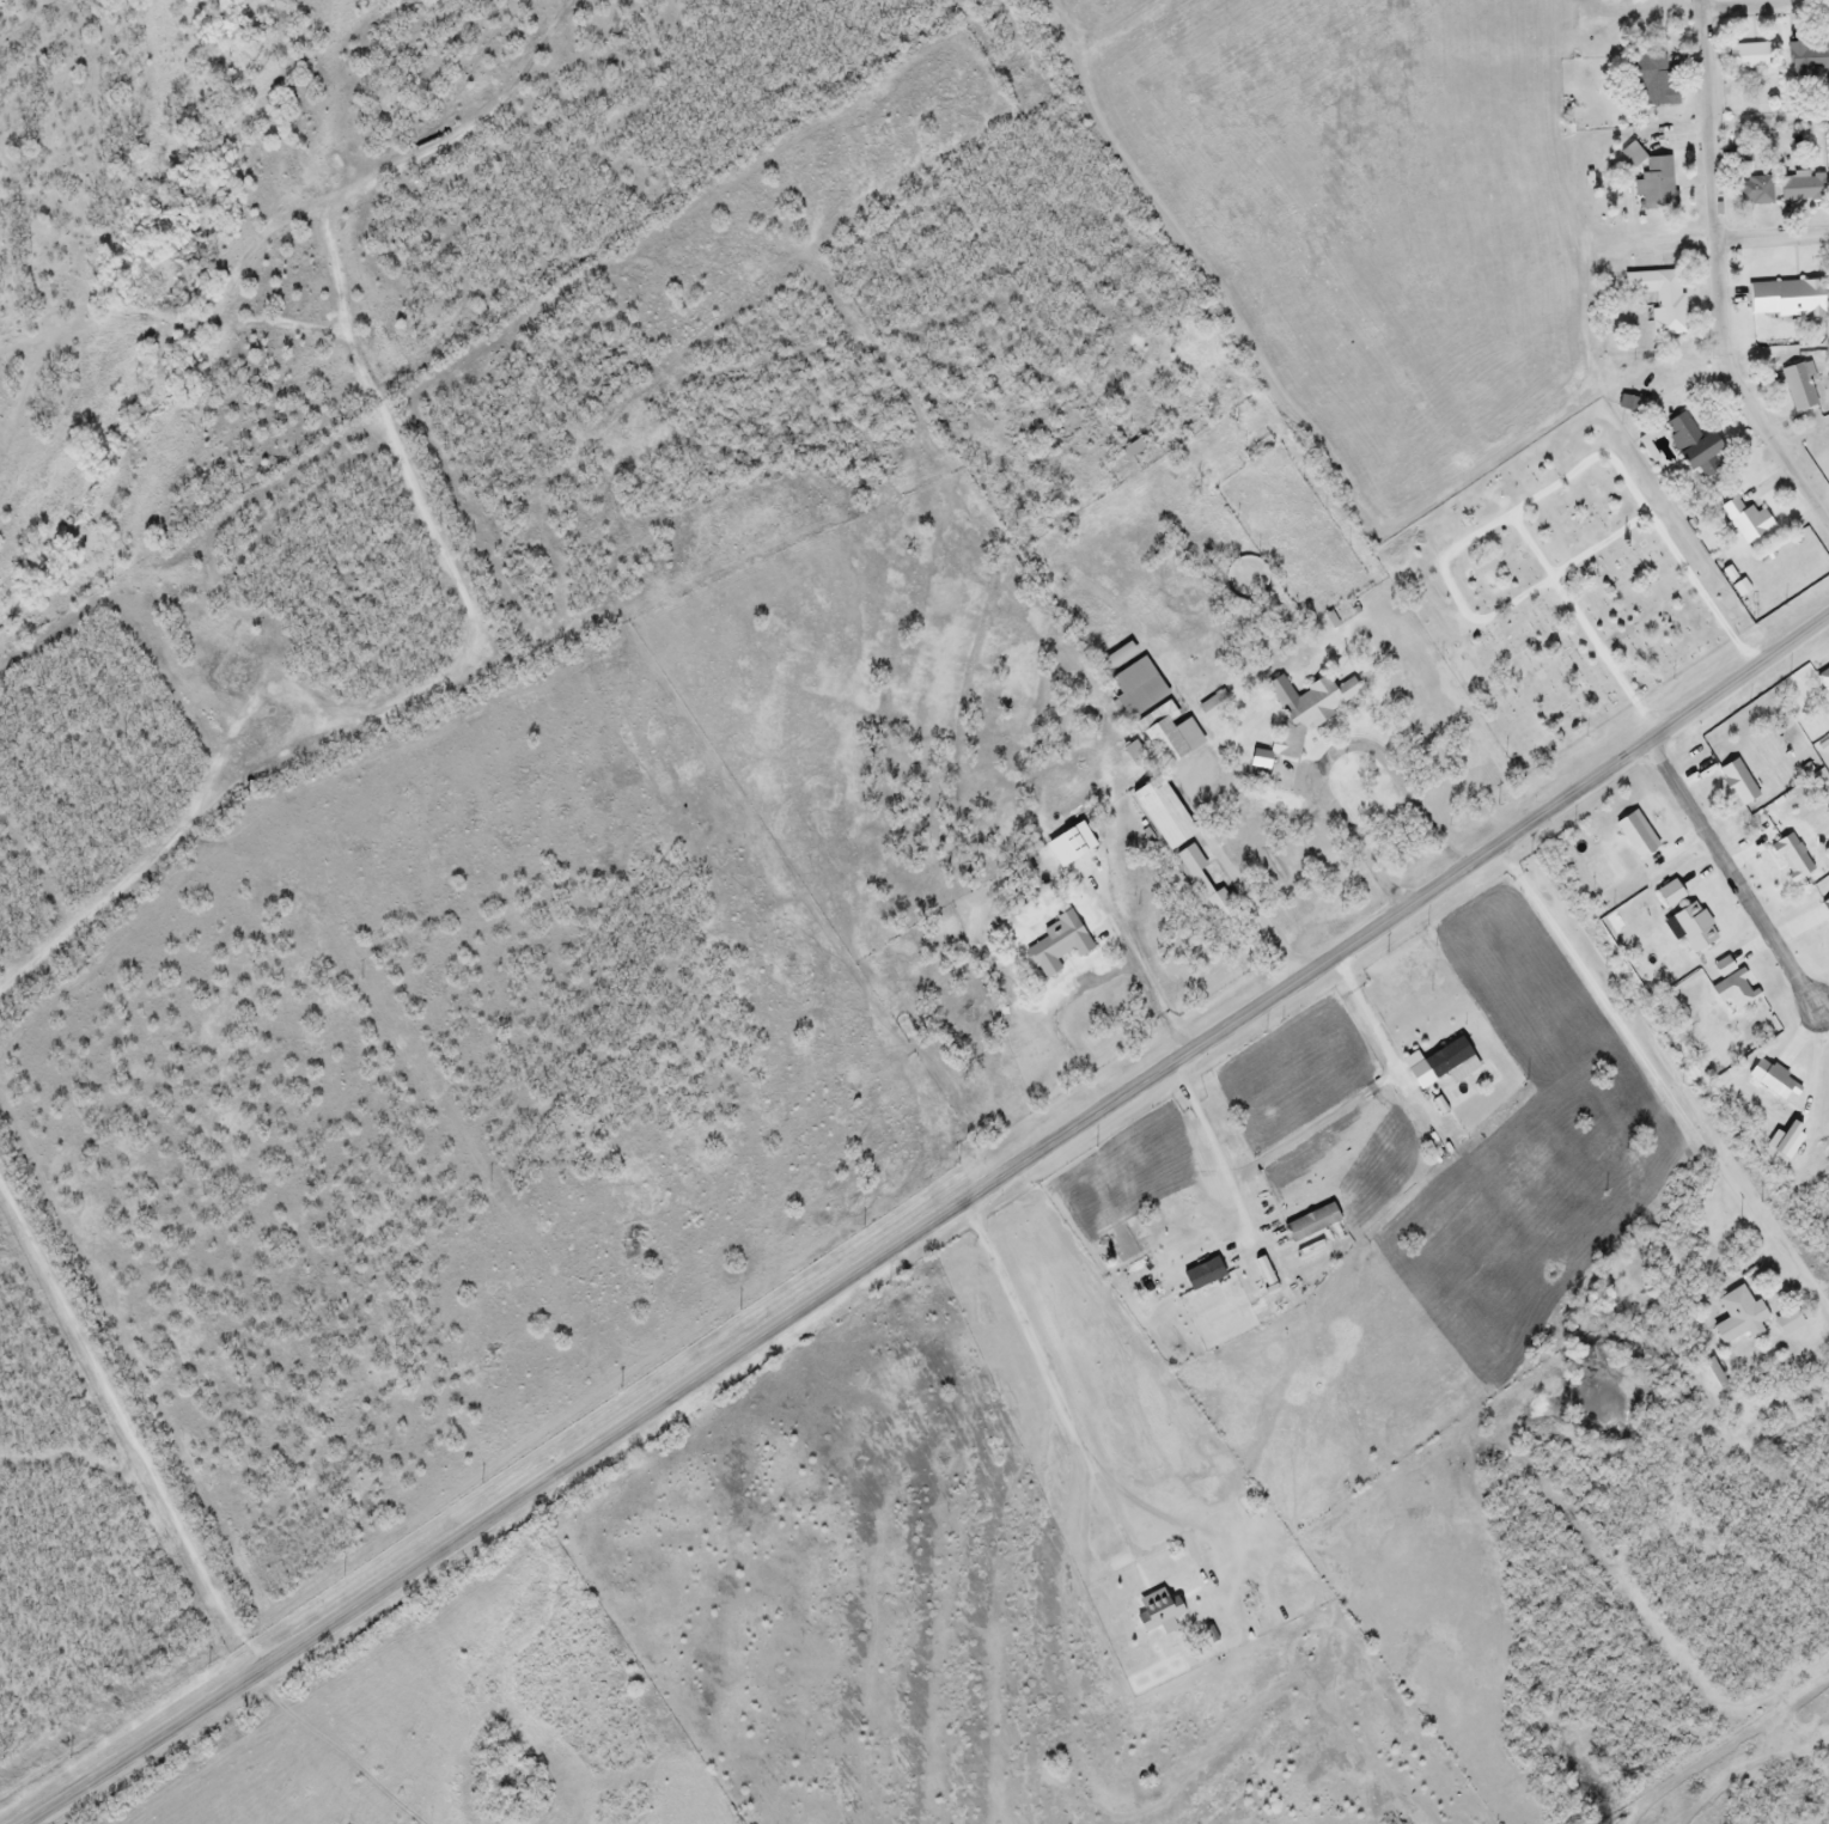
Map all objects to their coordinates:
road: (1757, 4)
building: (1749, 57)
building: (1806, 59)
building: (1651, 81)
building: (1651, 179)
building: (1799, 188)
building: (1754, 189)
road: (1736, 242)
road: (1721, 279)
building: (1798, 386)
building: (1688, 443)
building: (1126, 453)
building: (1744, 520)
park: (1559, 588)
building: (1116, 657)
road: (458, 684)
building: (1135, 688)
building: (1299, 714)
road: (1666, 730)
building: (1166, 734)
road: (1337, 752)
road: (261, 767)
building: (1160, 813)
road: (1206, 831)
road: (1734, 873)
building: (1201, 880)
building: (1062, 942)
road: (1086, 987)
road: (1645, 1054)
road: (1319, 1127)
building: (1737, 1318)
road: (762, 1338)
road: (1069, 1420)
road: (129, 1432)
building: (1156, 1611)

